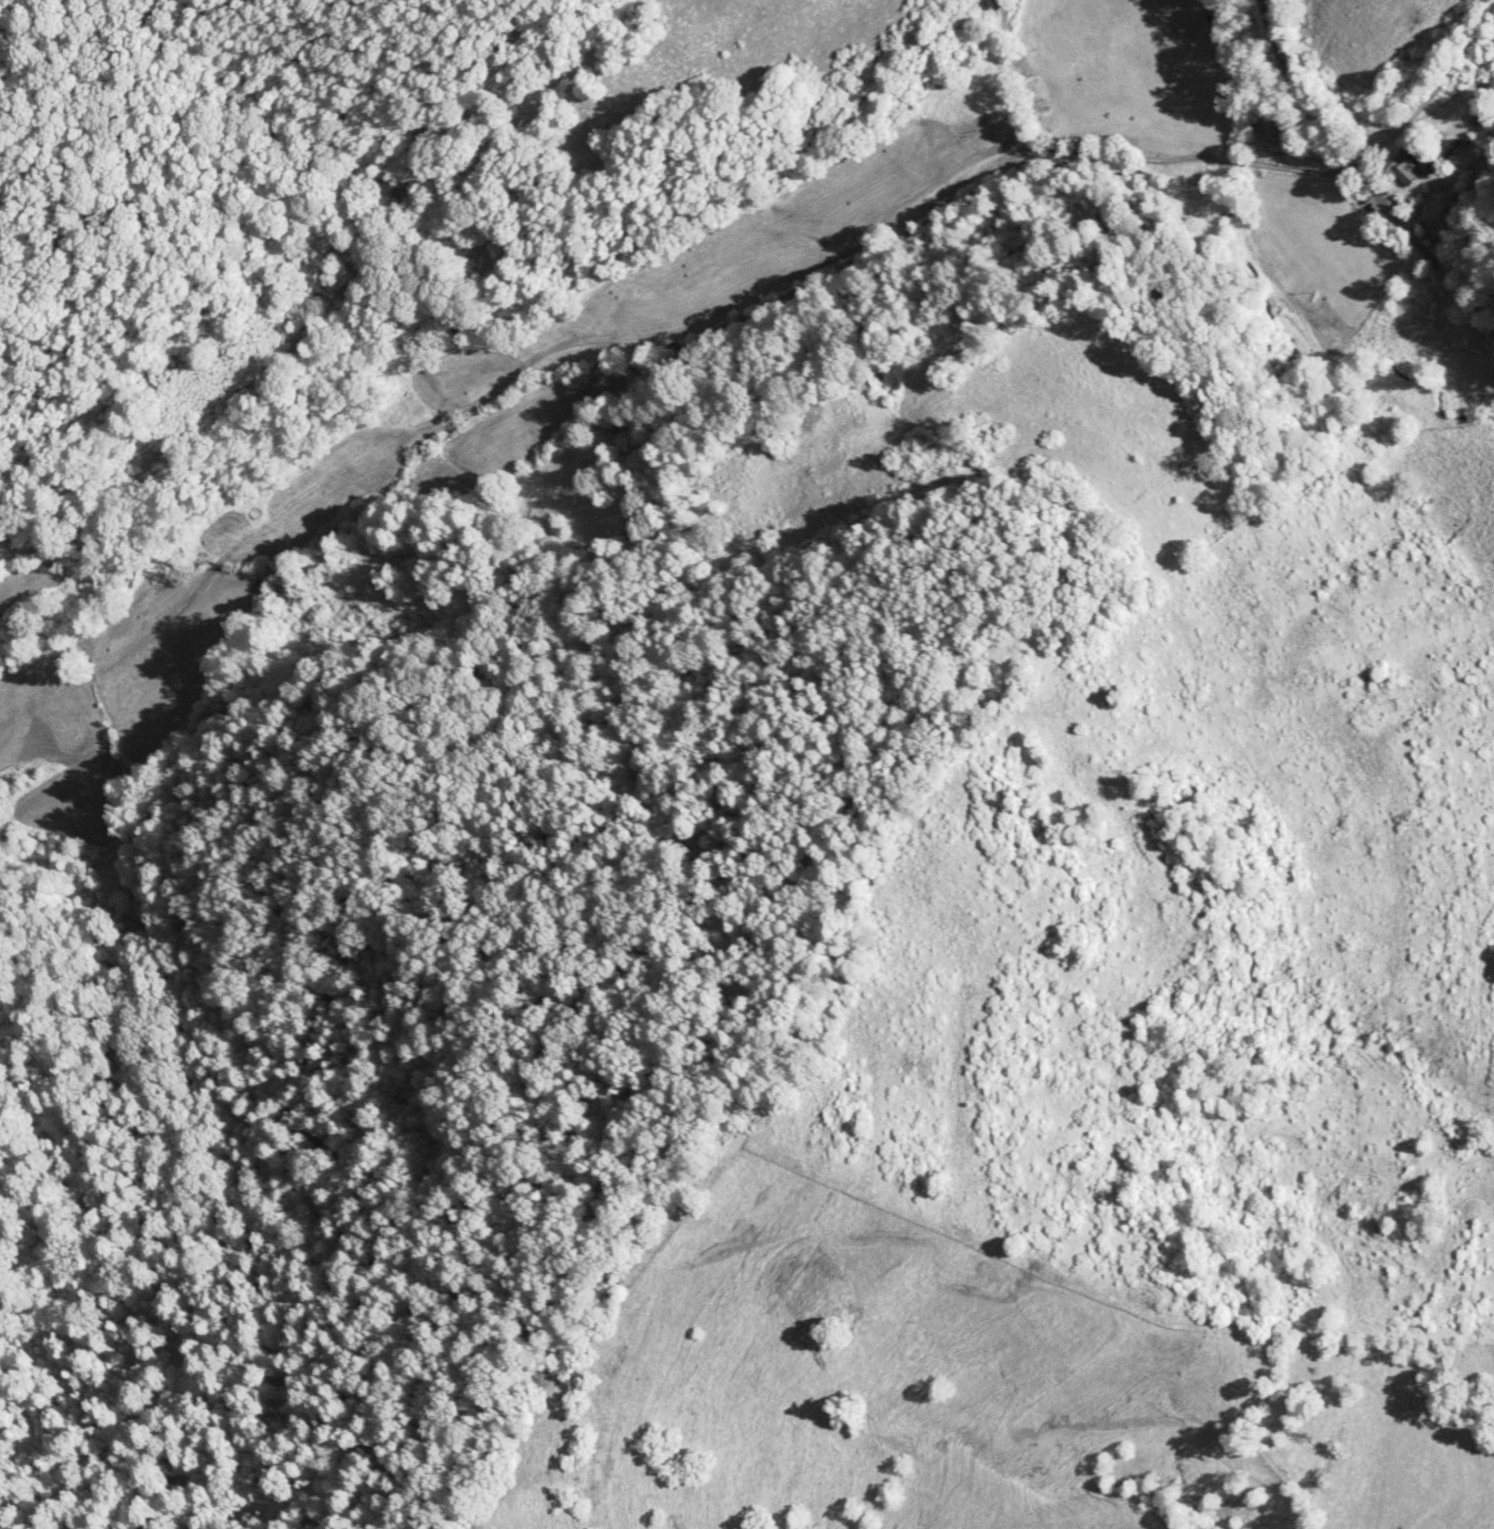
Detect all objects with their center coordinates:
building: (1029, 99)
road: (870, 134)
building: (1403, 166)
road: (1362, 187)

